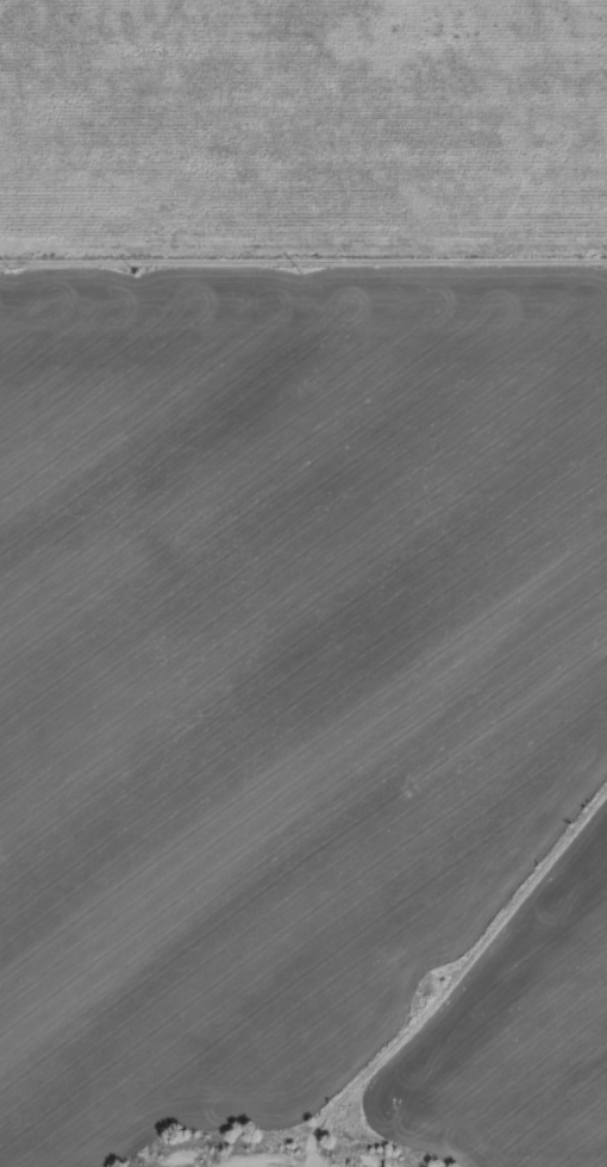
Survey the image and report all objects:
road: (303, 244)
road: (537, 870)

